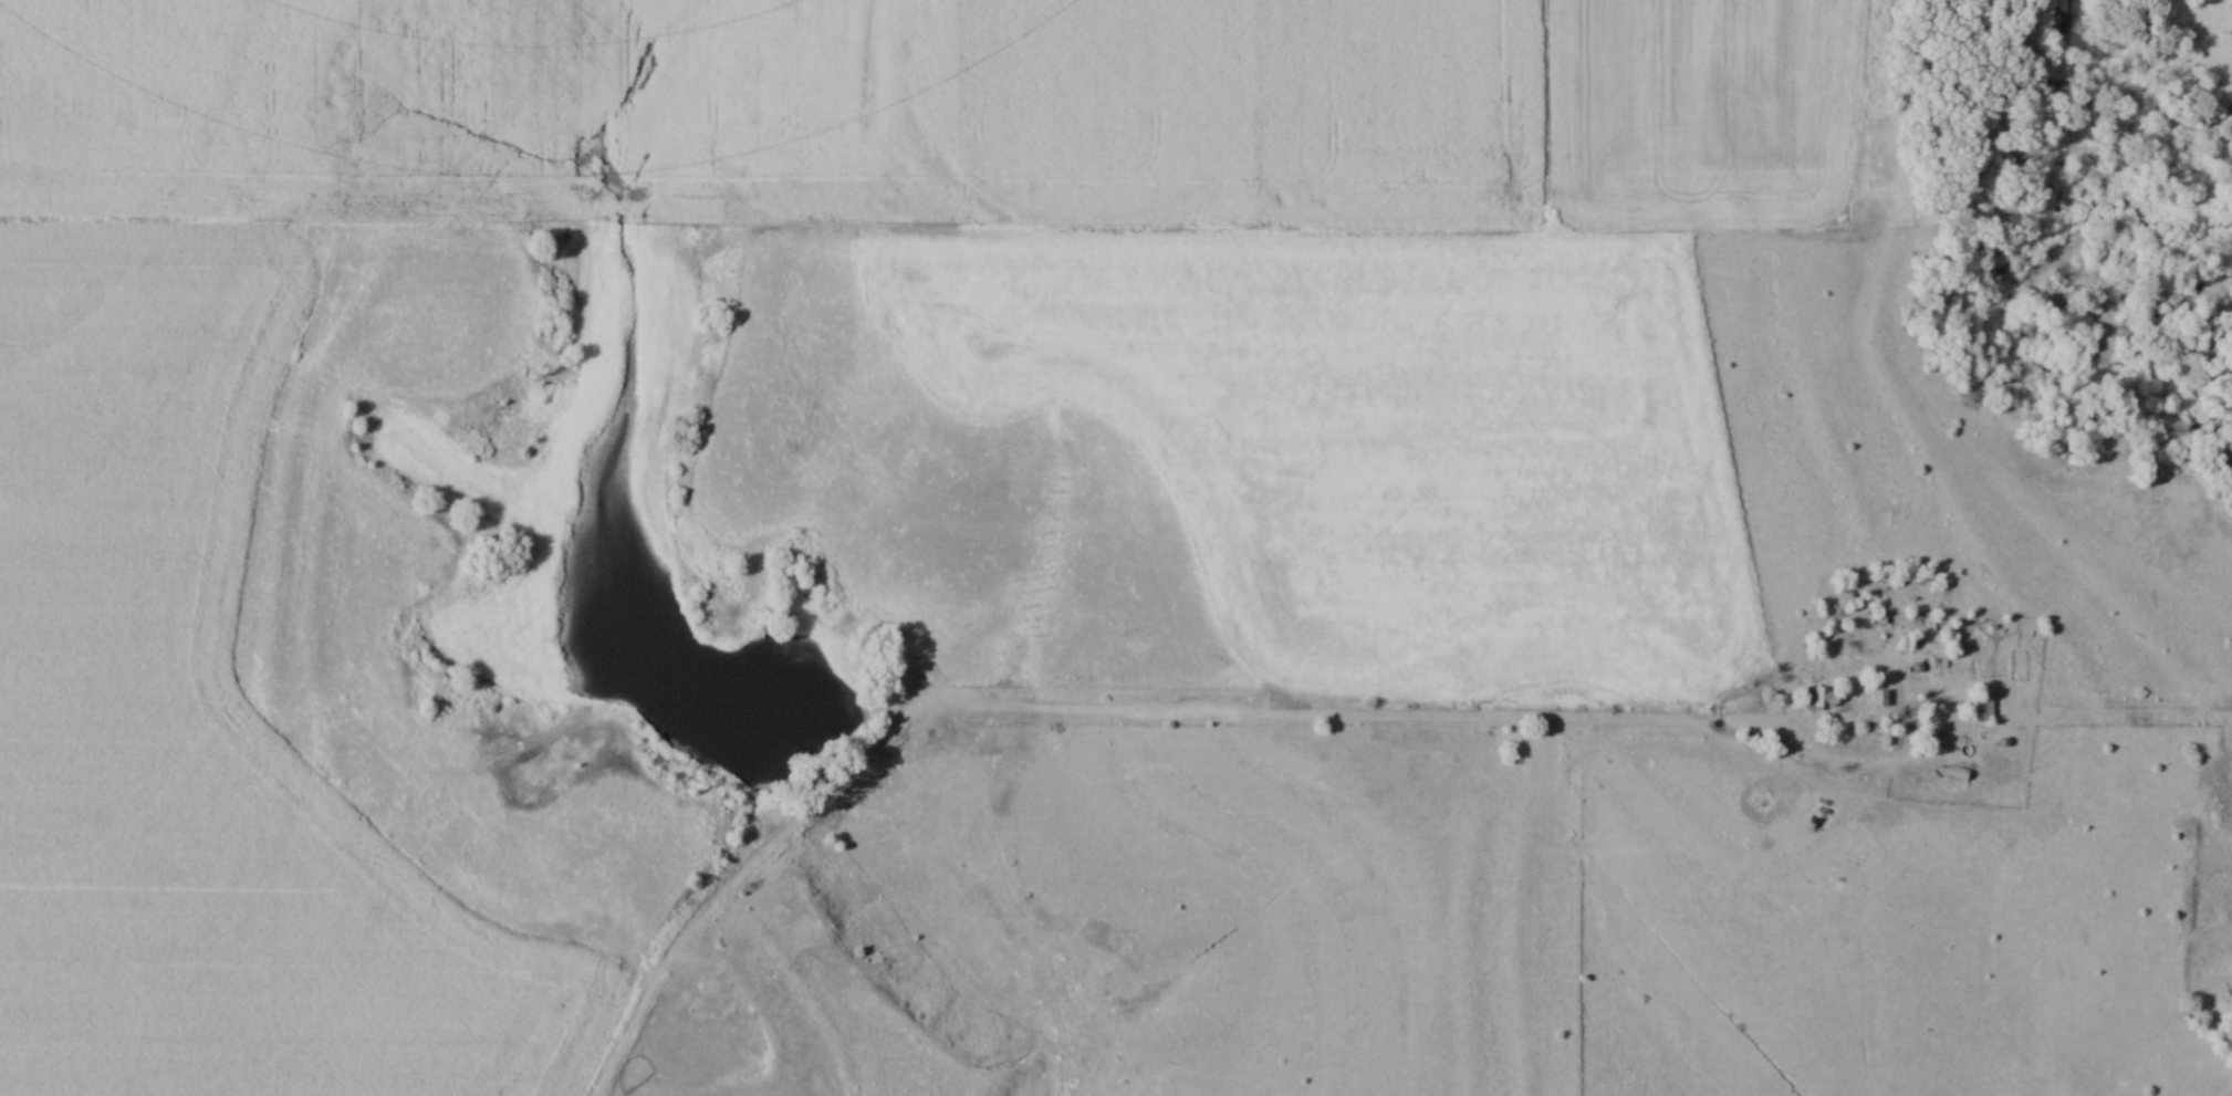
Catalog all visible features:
building: (1823, 703)
building: (1981, 711)
road: (1089, 713)

